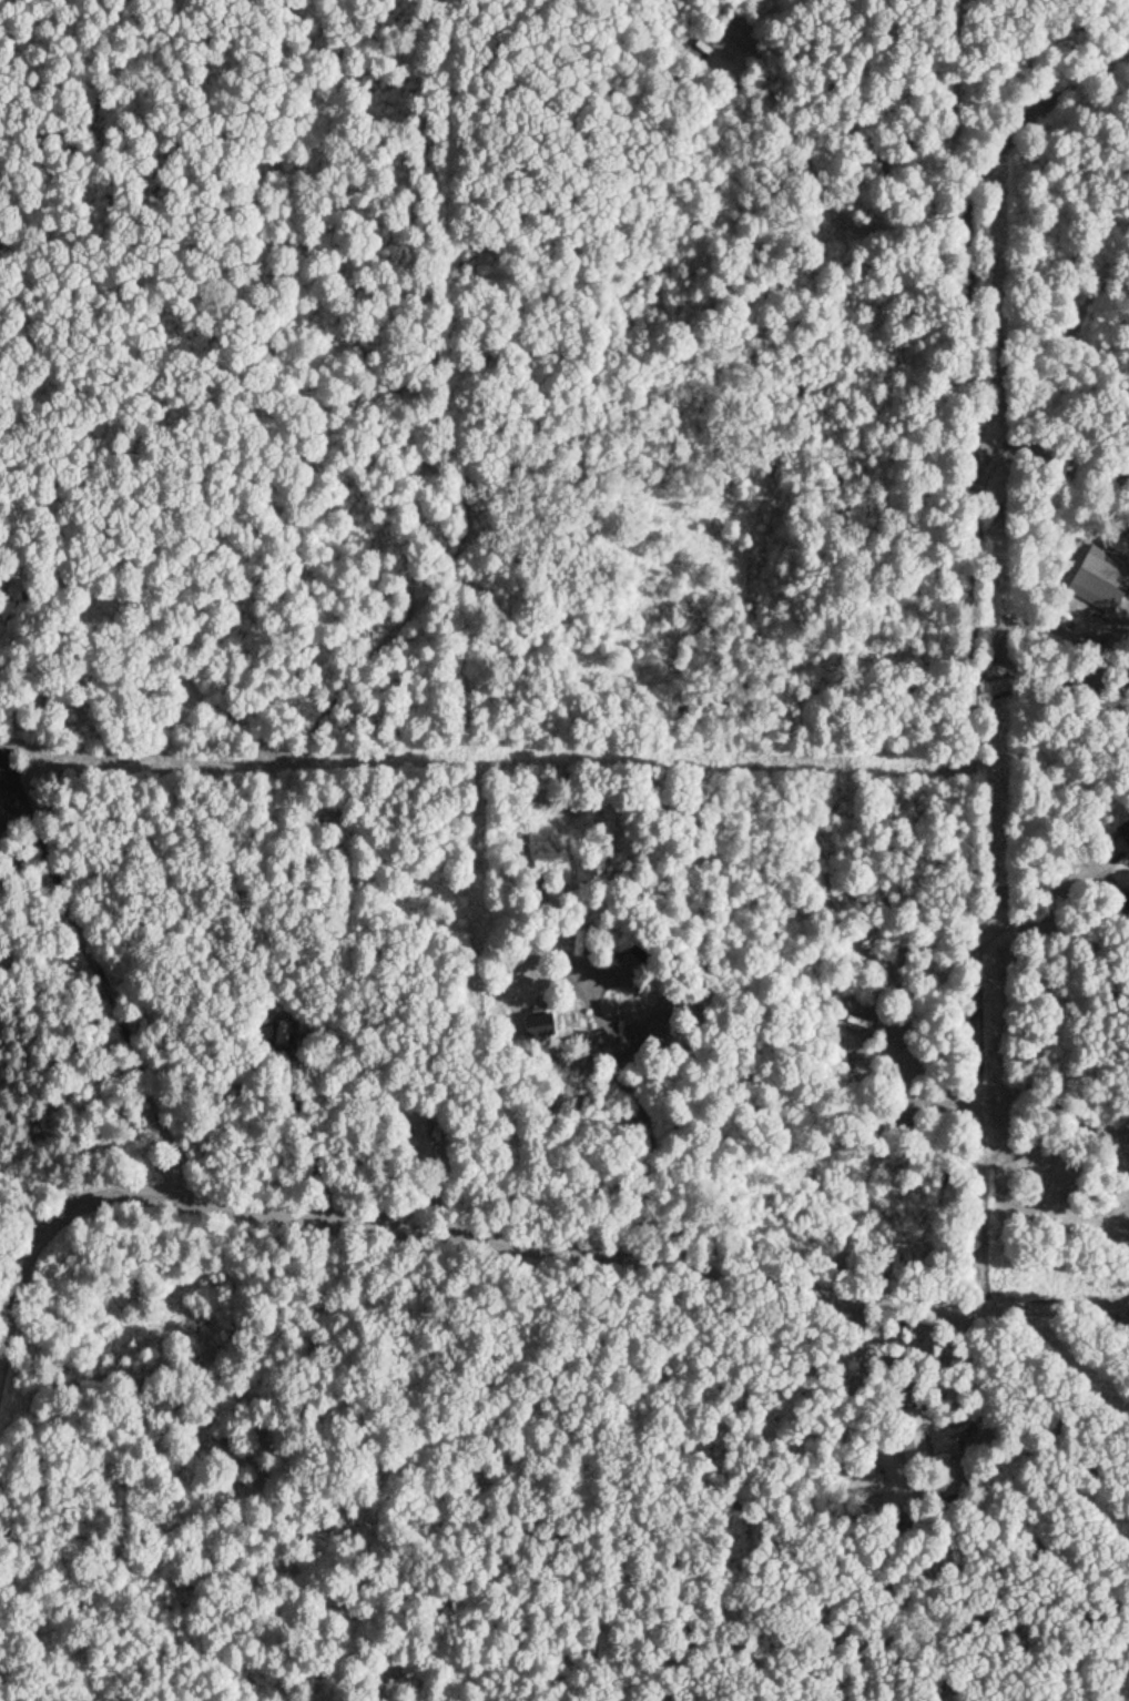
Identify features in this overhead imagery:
road: (1054, 449)
road: (1119, 476)
road: (977, 647)
road: (1100, 657)
road: (1023, 668)
road: (1096, 697)
building: (6, 832)
building: (1123, 832)
road: (1049, 899)
road: (87, 944)
building: (538, 1026)
road: (637, 1102)
road: (58, 1179)
road: (427, 1198)
road: (588, 1256)
road: (19, 1302)
road: (1123, 1315)
road: (974, 1386)
building: (912, 1437)
building: (950, 1476)

